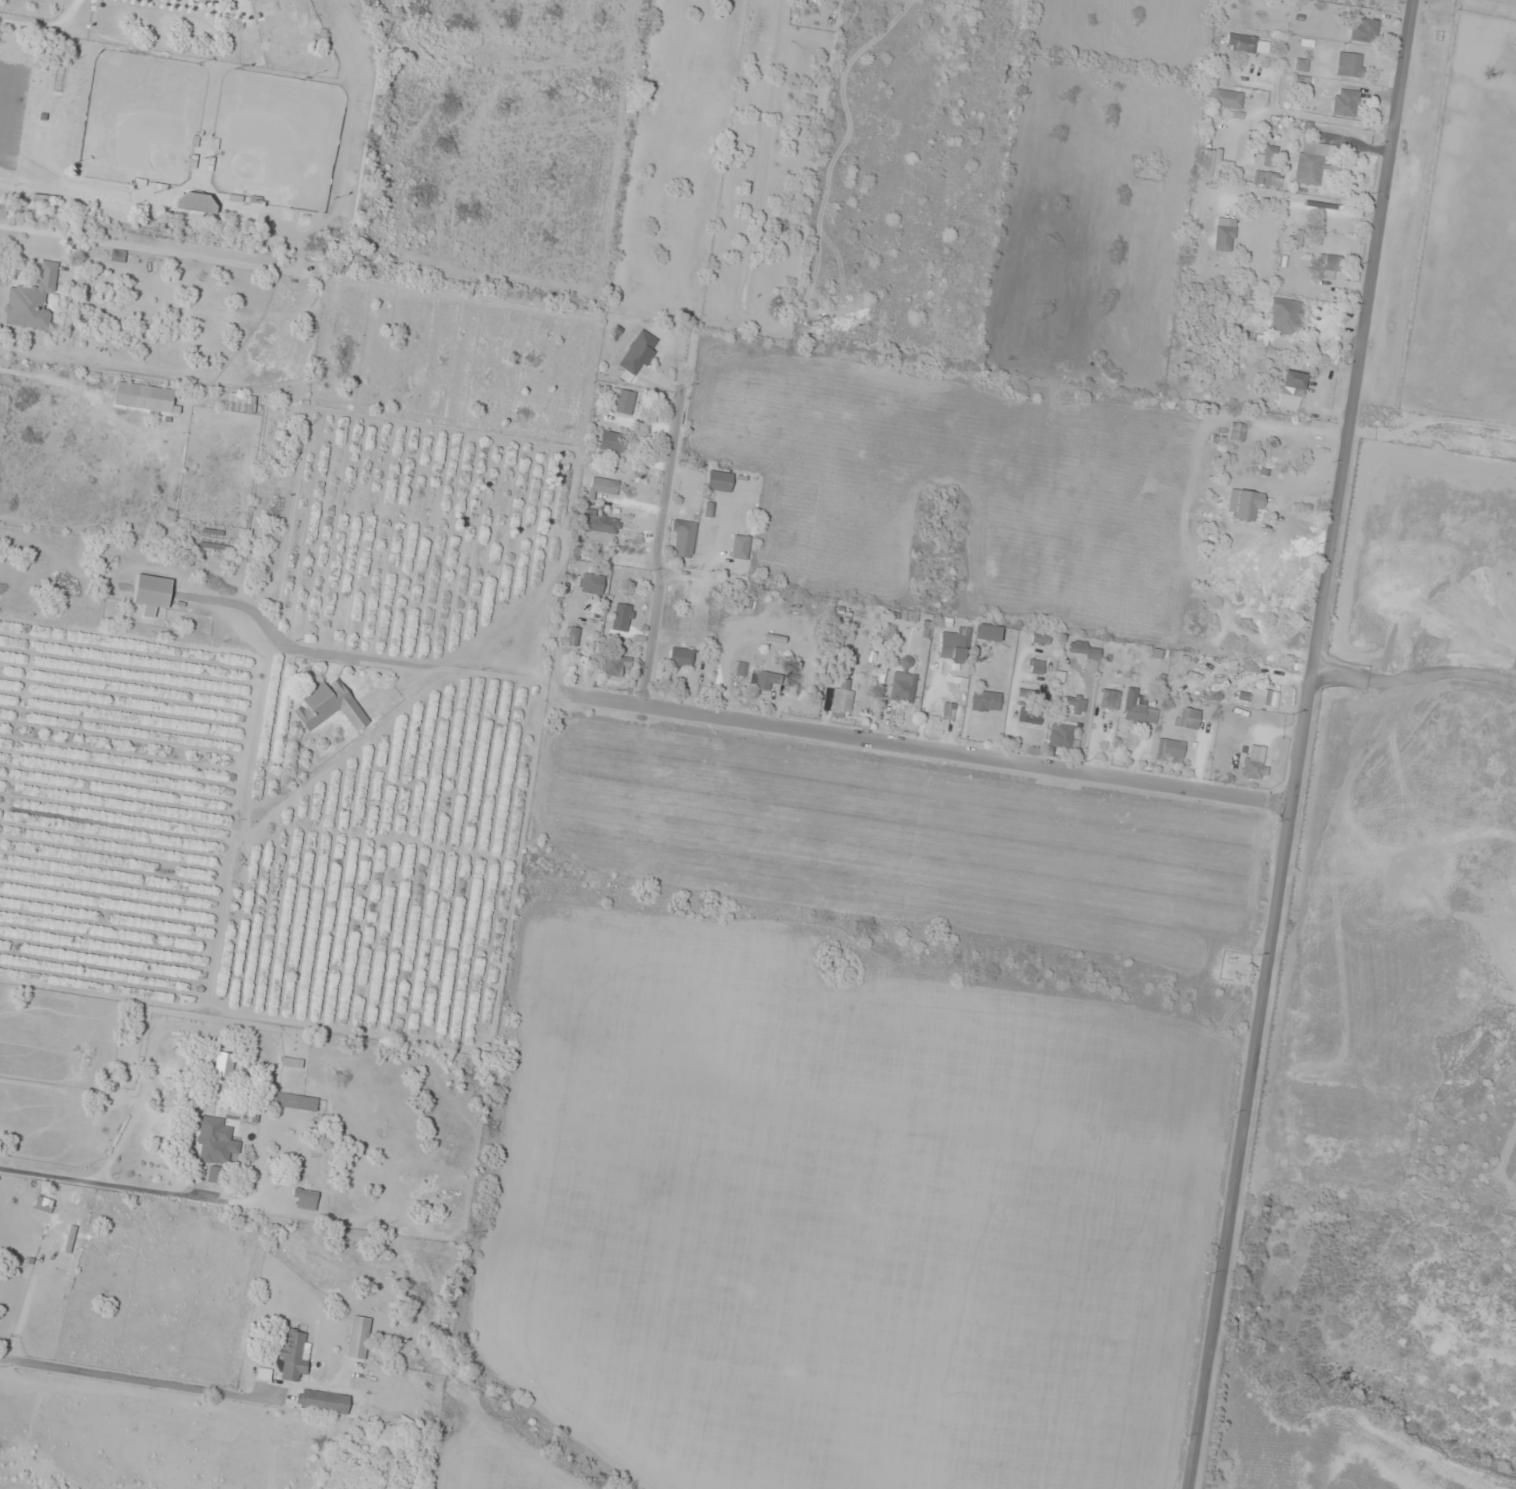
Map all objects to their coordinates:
building: (1364, 30)
building: (1241, 43)
building: (1350, 65)
building: (1226, 100)
building: (1345, 103)
building: (205, 143)
building: (1314, 162)
building: (1212, 164)
building: (1272, 181)
building: (195, 202)
building: (1225, 234)
building: (1330, 266)
building: (31, 301)
building: (1285, 317)
building: (639, 353)
building: (1291, 390)
building: (144, 397)
building: (624, 403)
building: (241, 404)
building: (1237, 432)
building: (612, 443)
building: (1279, 455)
building: (719, 482)
building: (604, 487)
building: (1244, 504)
building: (601, 524)
road: (662, 538)
building: (683, 538)
building: (740, 543)
building: (627, 560)
building: (591, 584)
building: (151, 594)
building: (623, 613)
building: (904, 615)
building: (987, 633)
building: (573, 636)
building: (954, 644)
building: (1084, 650)
building: (680, 657)
building: (615, 666)
building: (1037, 667)
building: (766, 681)
building: (903, 683)
building: (962, 683)
building: (1030, 694)
building: (1258, 697)
building: (1109, 699)
building: (841, 700)
building: (986, 700)
building: (1074, 703)
building: (329, 707)
building: (1029, 716)
building: (1187, 718)
building: (934, 726)
building: (1060, 736)
road: (1298, 744)
building: (1170, 749)
road: (966, 750)
building: (1254, 768)
building: (296, 1103)
building: (213, 1139)
building: (306, 1170)
building: (216, 1176)
building: (305, 1199)
building: (44, 1204)
building: (358, 1337)
building: (294, 1355)
building: (323, 1401)

